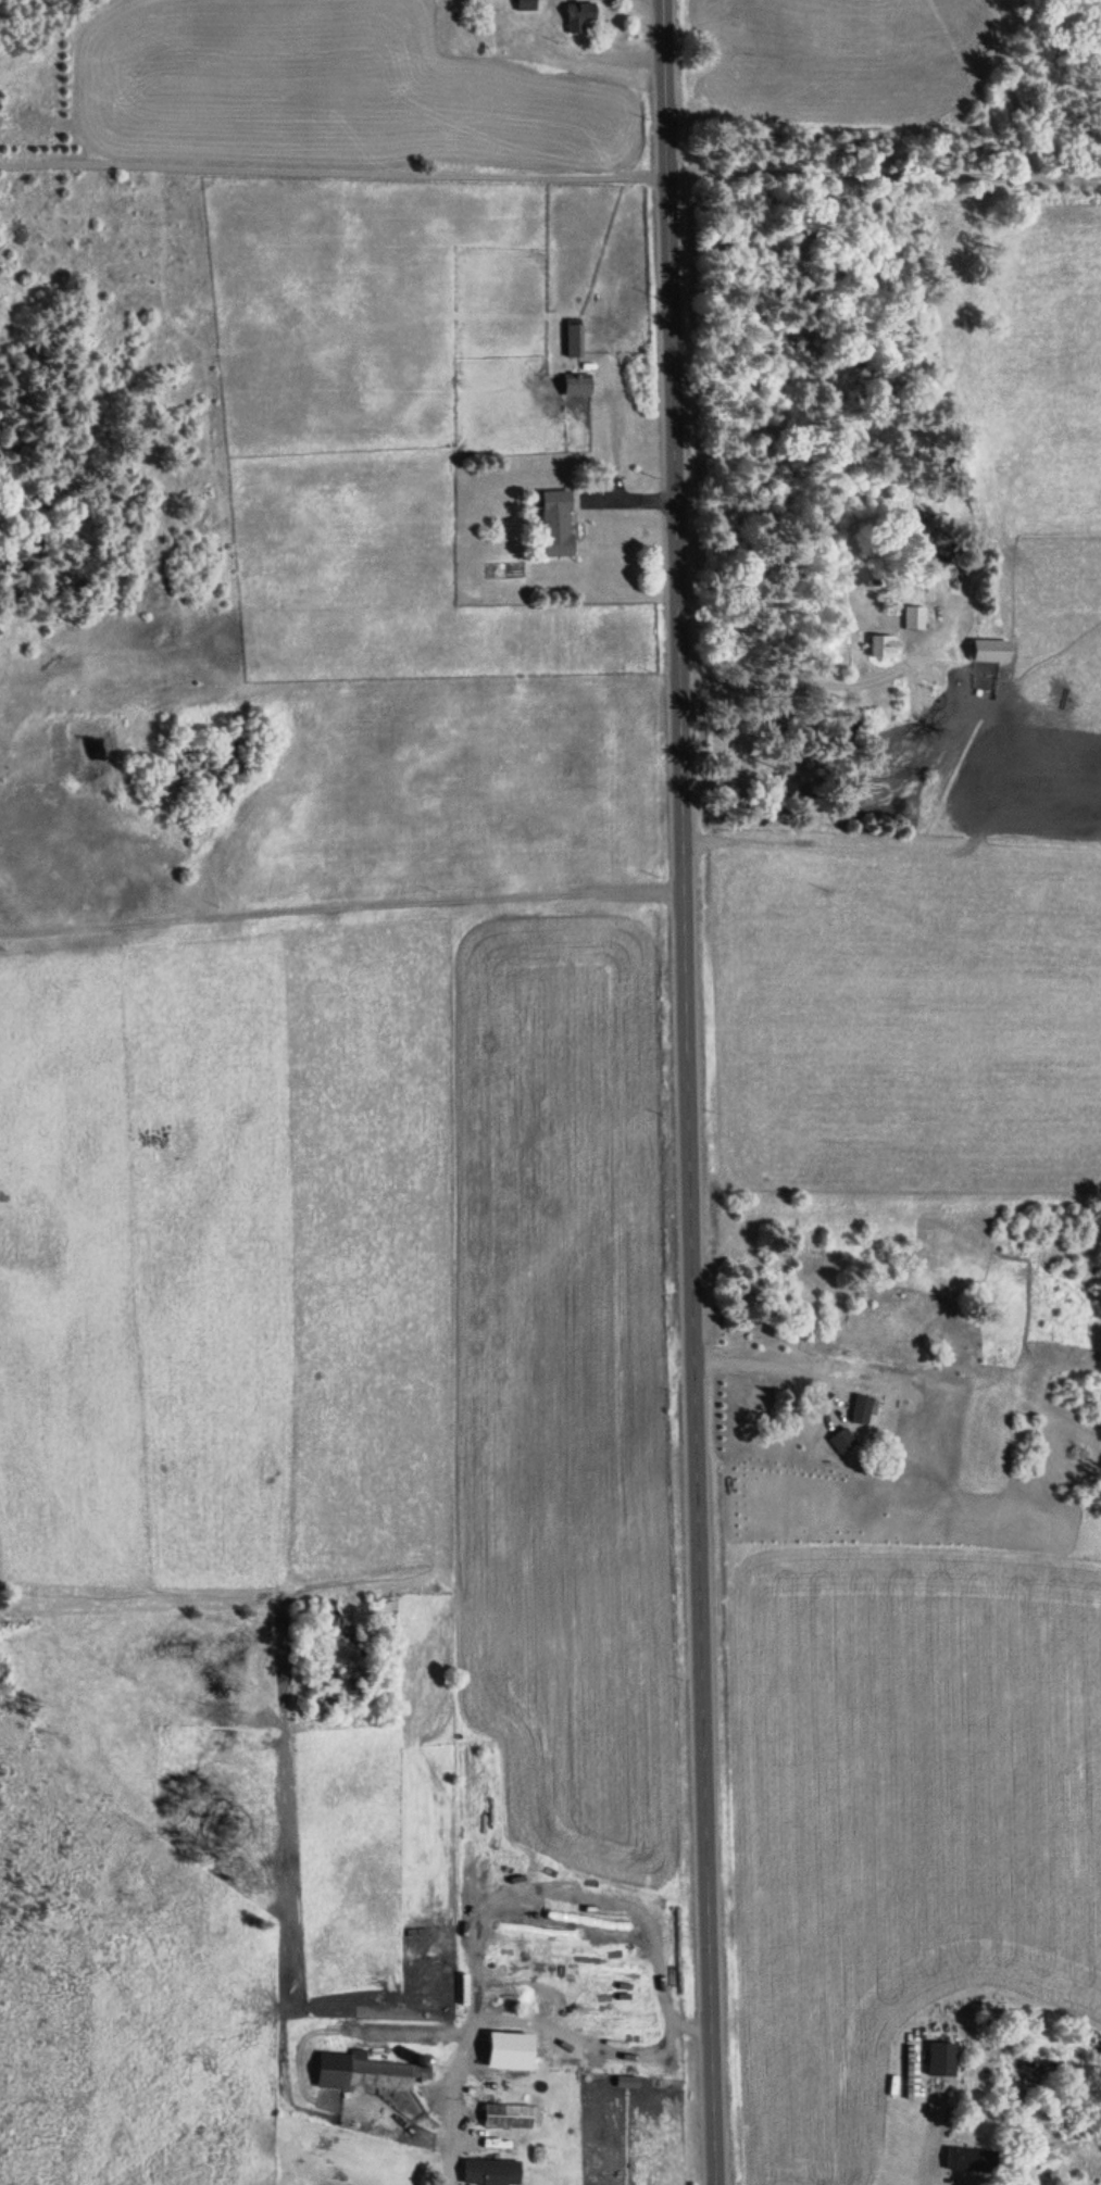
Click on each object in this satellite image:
building: (527, 5)
building: (580, 17)
road: (329, 175)
road: (879, 185)
building: (575, 341)
building: (578, 387)
building: (556, 525)
building: (914, 619)
building: (884, 646)
building: (992, 652)
building: (866, 732)
road: (686, 1092)
building: (863, 1410)
building: (843, 1441)
building: (942, 2059)
building: (387, 2074)
building: (628, 2082)
building: (511, 2117)
building: (971, 2160)
building: (492, 2172)

